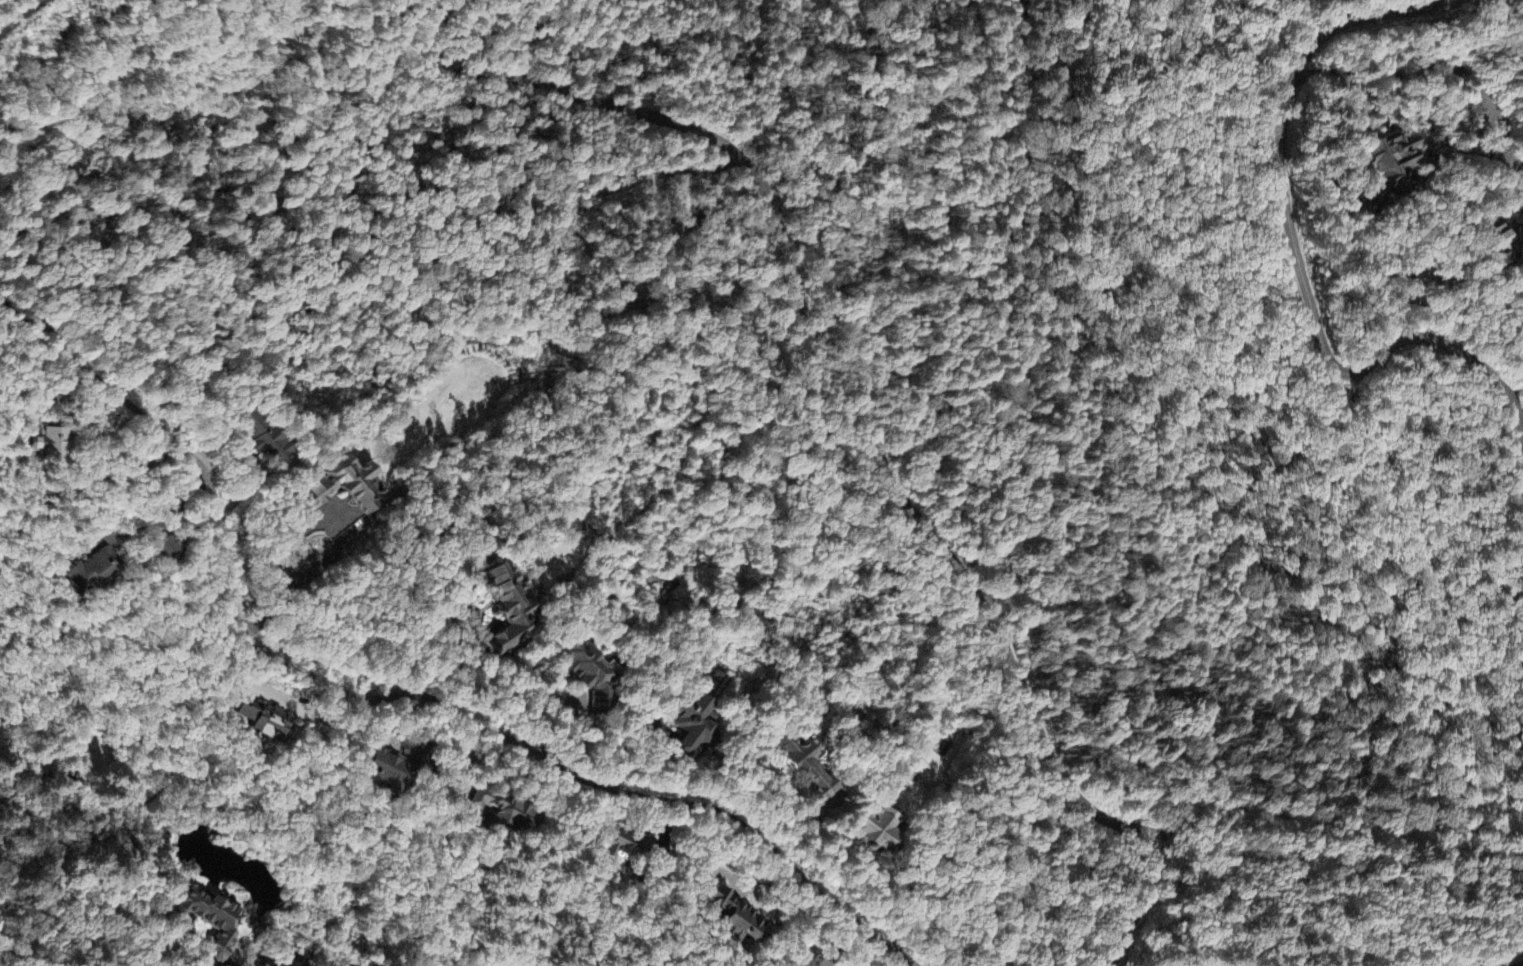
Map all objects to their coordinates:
road: (1503, 13)
road: (20, 19)
building: (1391, 157)
building: (1498, 243)
road: (1299, 264)
road: (856, 407)
building: (265, 441)
building: (50, 445)
building: (345, 490)
building: (94, 566)
building: (508, 609)
building: (595, 678)
road: (395, 695)
building: (263, 722)
building: (698, 727)
building: (804, 768)
building: (394, 772)
building: (503, 814)
building: (874, 828)
building: (613, 844)
building: (209, 921)
building: (730, 921)
building: (808, 959)

